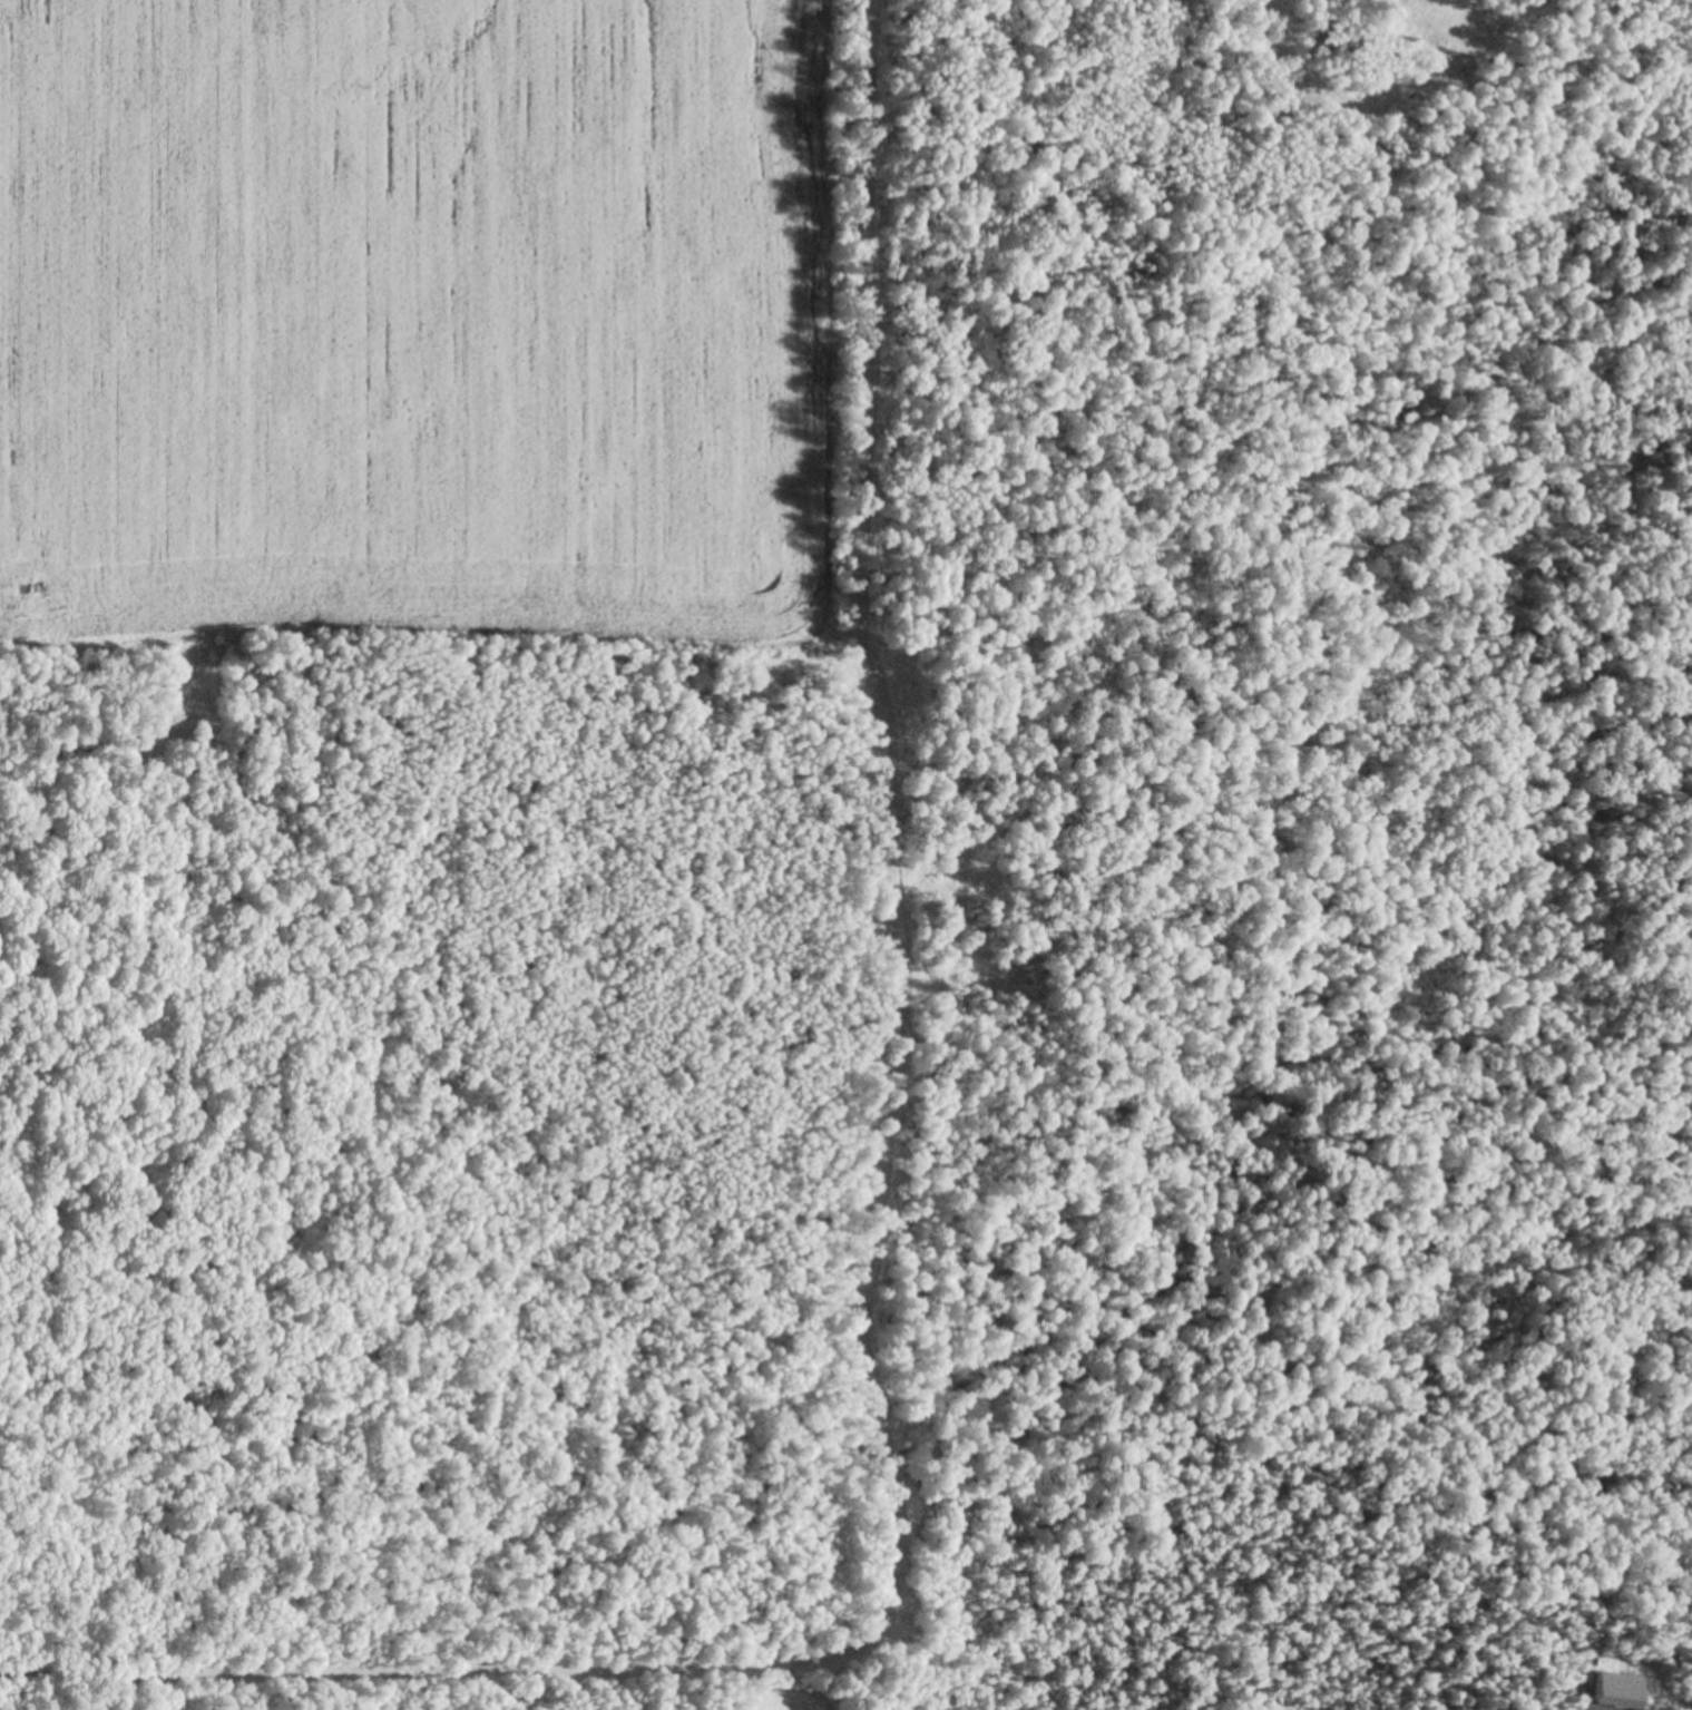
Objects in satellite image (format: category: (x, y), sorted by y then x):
crop: (421, 320)
building: (1611, 1687)

